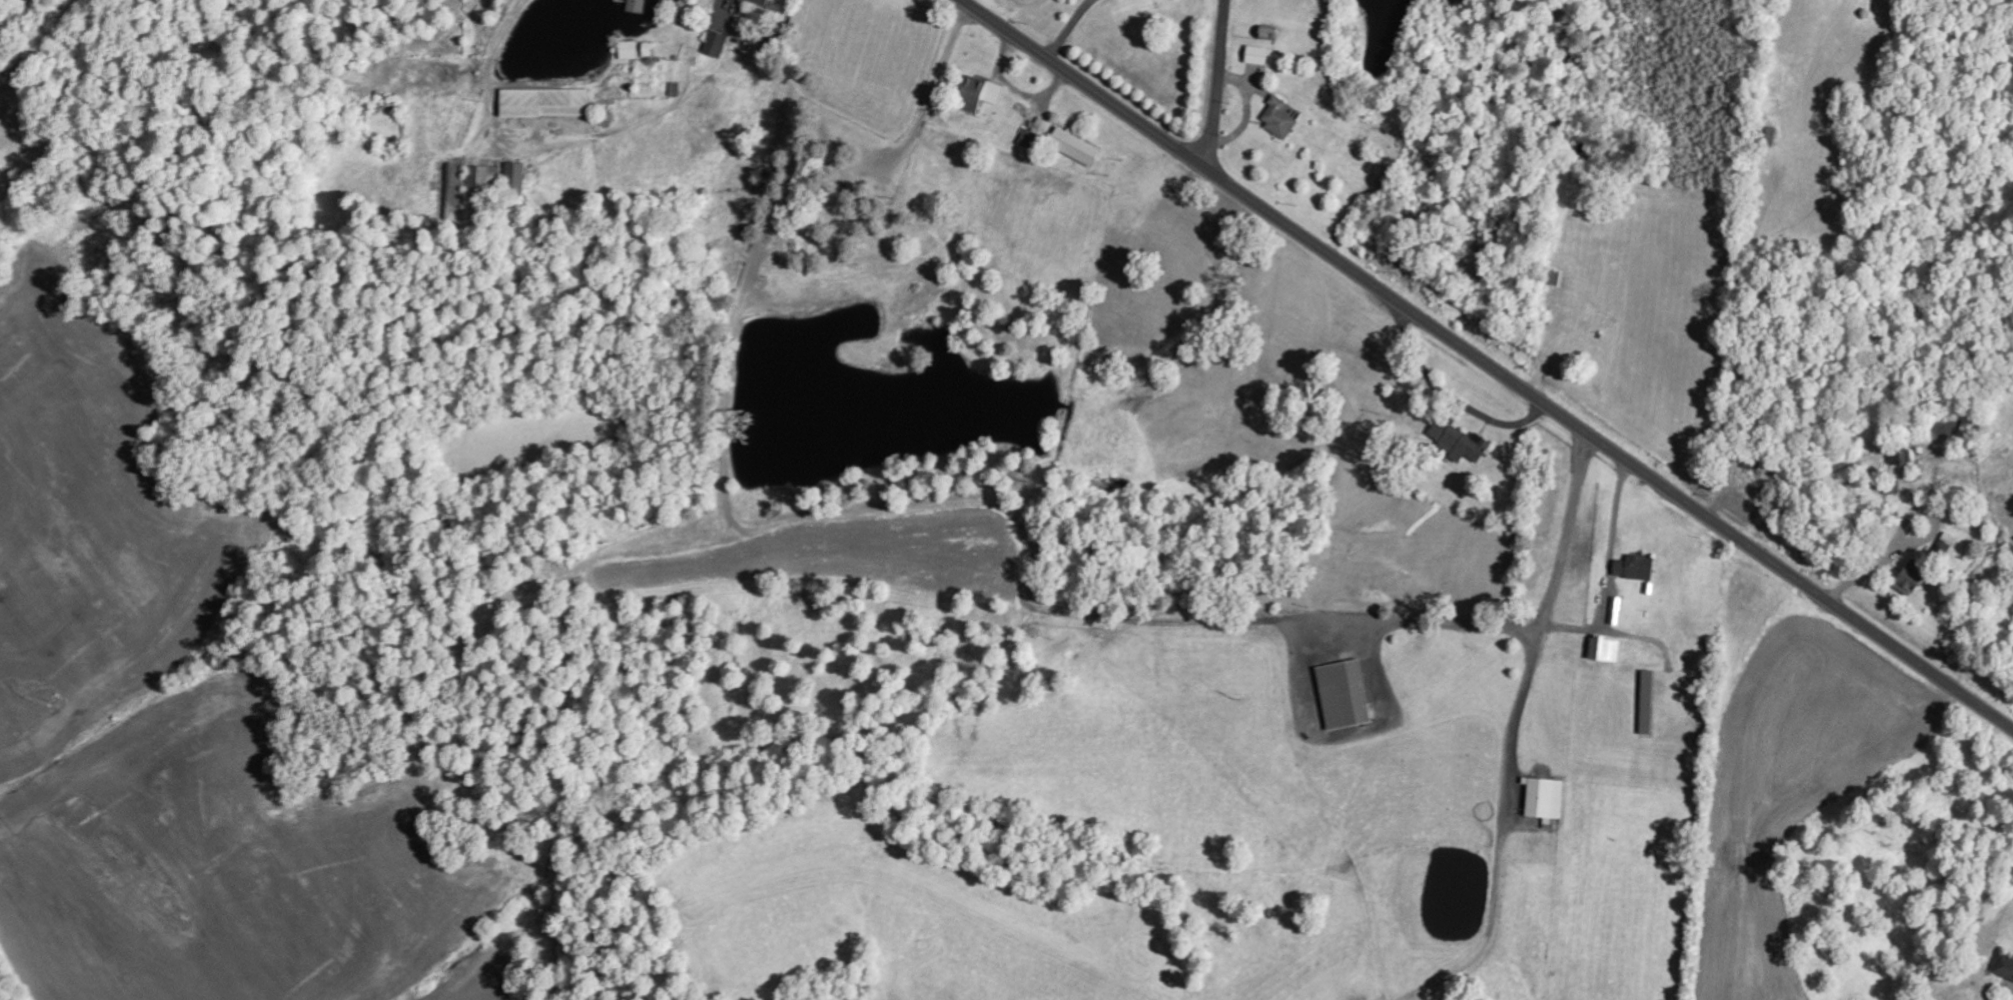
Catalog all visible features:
building: (758, 2)
road: (6, 4)
building: (635, 5)
building: (715, 43)
building: (627, 50)
building: (1257, 54)
road: (1219, 84)
building: (977, 92)
building: (544, 102)
building: (1279, 117)
building: (1041, 126)
building: (1073, 146)
building: (515, 178)
building: (484, 179)
building: (456, 191)
road: (1487, 364)
building: (1457, 440)
building: (1902, 458)
building: (1946, 542)
building: (1634, 567)
building: (1910, 578)
building: (1604, 649)
building: (1343, 694)
building: (1646, 702)
building: (1544, 798)
building: (2004, 966)

